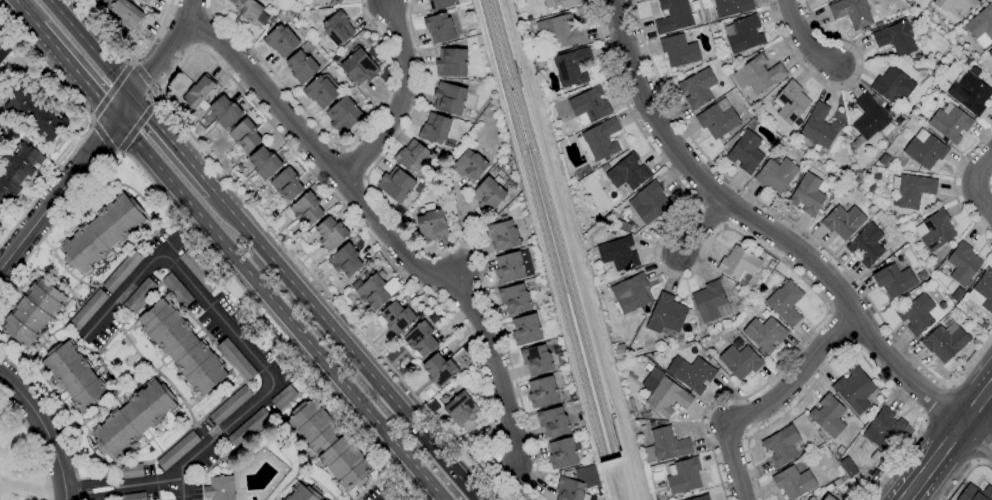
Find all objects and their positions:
building: (146, 1)
building: (336, 1)
building: (559, 3)
building: (440, 4)
building: (953, 6)
building: (731, 7)
building: (248, 9)
building: (125, 11)
building: (854, 12)
road: (23, 14)
building: (673, 16)
building: (981, 26)
building: (338, 28)
building: (440, 28)
building: (560, 31)
building: (743, 34)
road: (806, 37)
building: (896, 38)
building: (281, 41)
road: (89, 48)
building: (3, 51)
building: (679, 51)
building: (990, 53)
road: (127, 59)
road: (158, 60)
building: (452, 63)
building: (302, 67)
building: (359, 67)
building: (570, 67)
road: (76, 74)
building: (757, 75)
road: (146, 80)
building: (892, 85)
road: (841, 87)
building: (698, 88)
building: (970, 91)
building: (198, 92)
building: (320, 92)
road: (399, 96)
building: (449, 98)
building: (790, 103)
building: (589, 106)
building: (225, 112)
building: (36, 114)
building: (343, 115)
building: (869, 117)
building: (717, 121)
building: (950, 123)
road: (90, 125)
building: (819, 127)
building: (435, 128)
building: (245, 135)
road: (103, 138)
building: (599, 140)
road: (329, 141)
road: (172, 145)
building: (925, 150)
building: (745, 152)
building: (412, 156)
building: (883, 160)
building: (264, 163)
building: (470, 166)
building: (18, 171)
building: (627, 174)
building: (776, 174)
road: (976, 183)
building: (287, 184)
building: (396, 184)
road: (954, 187)
building: (912, 190)
road: (57, 193)
building: (489, 195)
building: (807, 195)
building: (648, 201)
building: (307, 209)
building: (612, 214)
building: (843, 222)
building: (431, 223)
road: (701, 224)
road: (764, 225)
building: (622, 226)
road: (793, 227)
road: (383, 228)
railway: (552, 228)
railway: (540, 230)
building: (935, 230)
building: (103, 232)
building: (331, 232)
road: (718, 233)
building: (503, 235)
building: (866, 246)
road: (213, 255)
building: (616, 255)
building: (346, 260)
building: (738, 263)
building: (963, 264)
road: (394, 267)
building: (509, 268)
building: (122, 271)
building: (198, 271)
building: (893, 280)
building: (177, 290)
building: (376, 290)
building: (983, 291)
building: (629, 294)
building: (957, 294)
building: (140, 295)
building: (515, 298)
building: (710, 302)
building: (785, 303)
road: (278, 309)
building: (88, 310)
building: (33, 312)
building: (666, 314)
building: (917, 315)
building: (397, 318)
building: (526, 329)
road: (233, 333)
building: (764, 334)
building: (420, 339)
building: (945, 342)
road: (344, 346)
building: (182, 347)
road: (849, 347)
building: (236, 360)
building: (536, 360)
building: (740, 361)
building: (439, 370)
building: (691, 373)
building: (74, 376)
building: (855, 389)
building: (542, 392)
building: (664, 393)
building: (283, 396)
road: (764, 400)
road: (935, 400)
road: (977, 402)
building: (230, 405)
building: (462, 409)
building: (828, 416)
building: (134, 418)
road: (54, 419)
building: (553, 422)
building: (248, 427)
building: (884, 429)
road: (42, 433)
road: (977, 433)
road: (33, 443)
building: (329, 444)
building: (781, 445)
building: (665, 446)
building: (178, 451)
road: (983, 452)
building: (562, 453)
park: (20, 457)
road: (934, 458)
building: (130, 471)
road: (965, 473)
building: (586, 476)
building: (684, 476)
road: (497, 481)
road: (149, 482)
building: (793, 482)
road: (24, 486)
building: (219, 488)
building: (570, 490)
building: (302, 493)
building: (390, 493)
building: (975, 493)
road: (64, 494)
building: (134, 496)
road: (904, 497)
building: (700, 498)
building: (809, 498)
building: (811, 498)
building: (829, 498)

